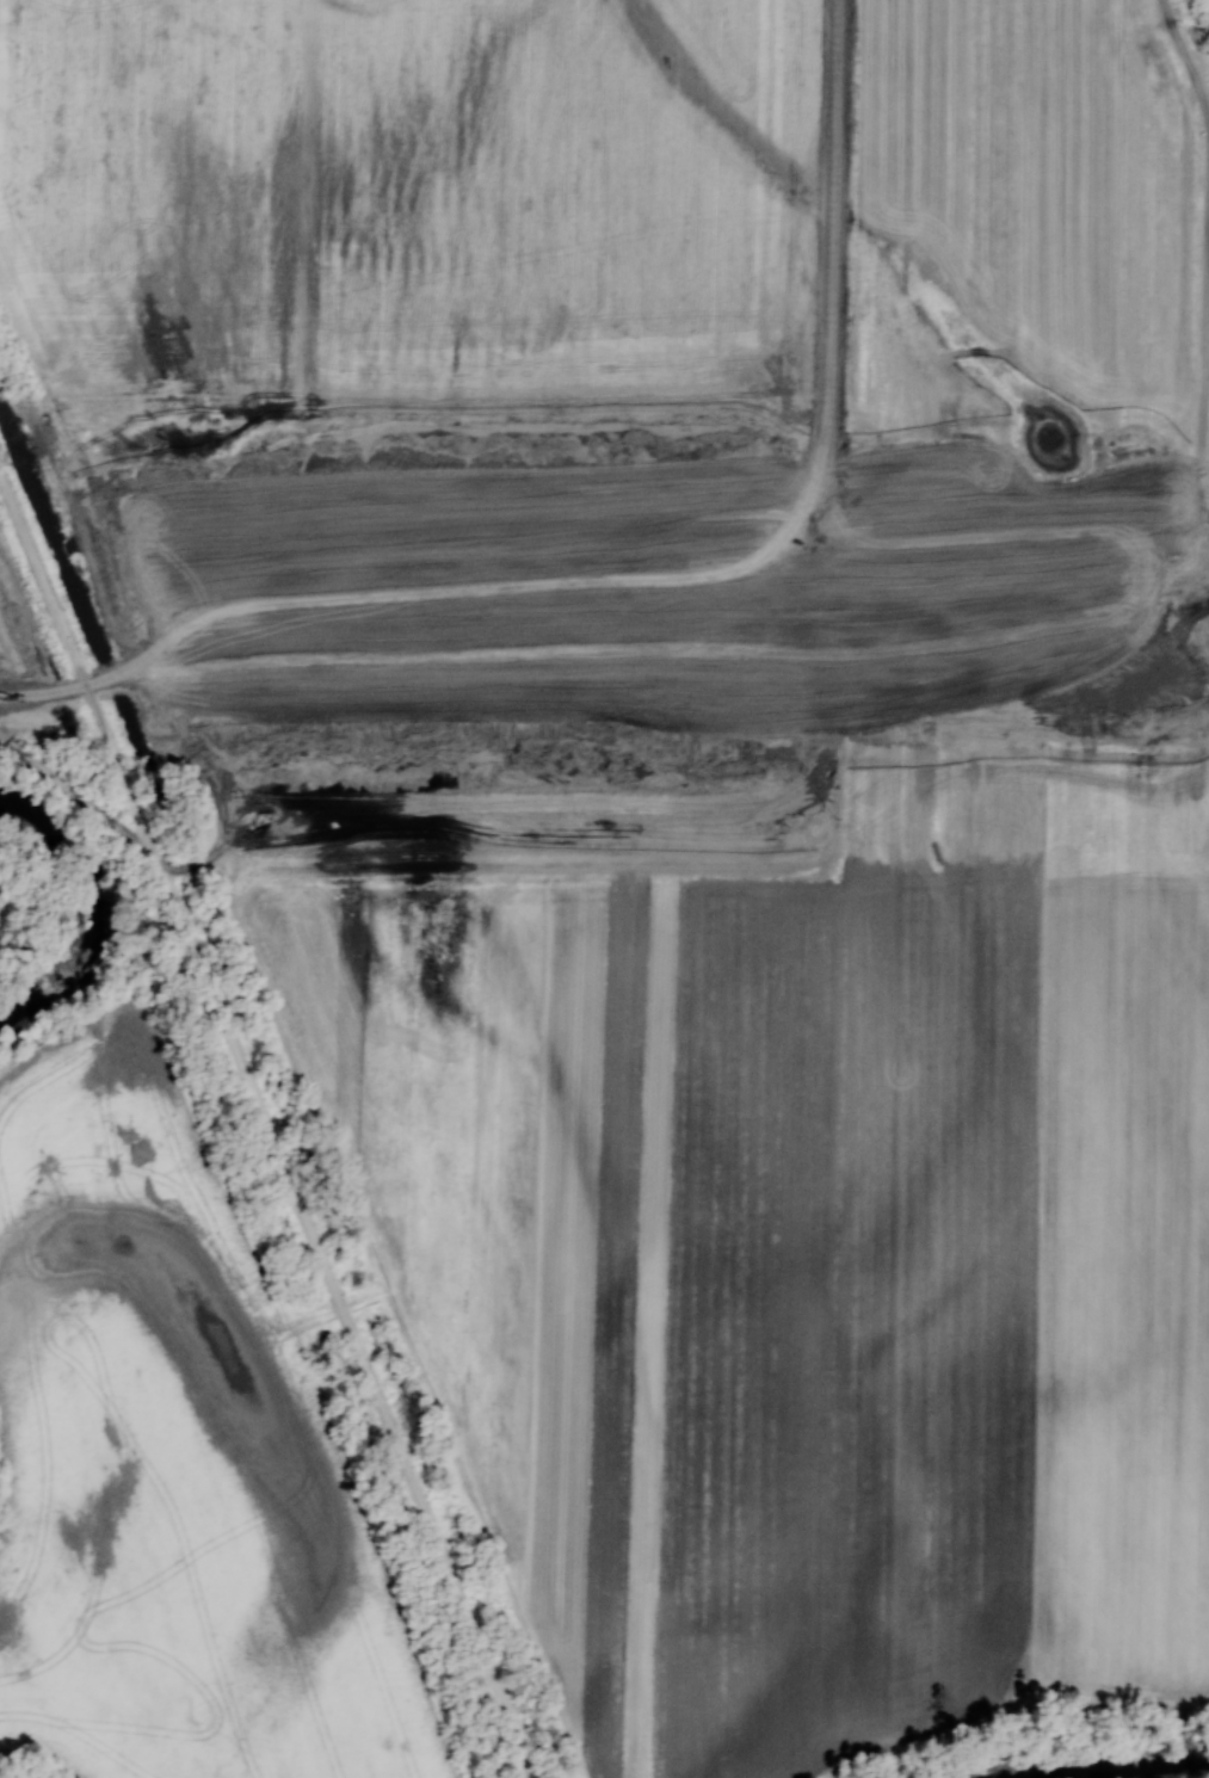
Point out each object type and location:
road: (658, 570)
river: (101, 908)
road: (271, 1126)
river: (1114, 1768)

